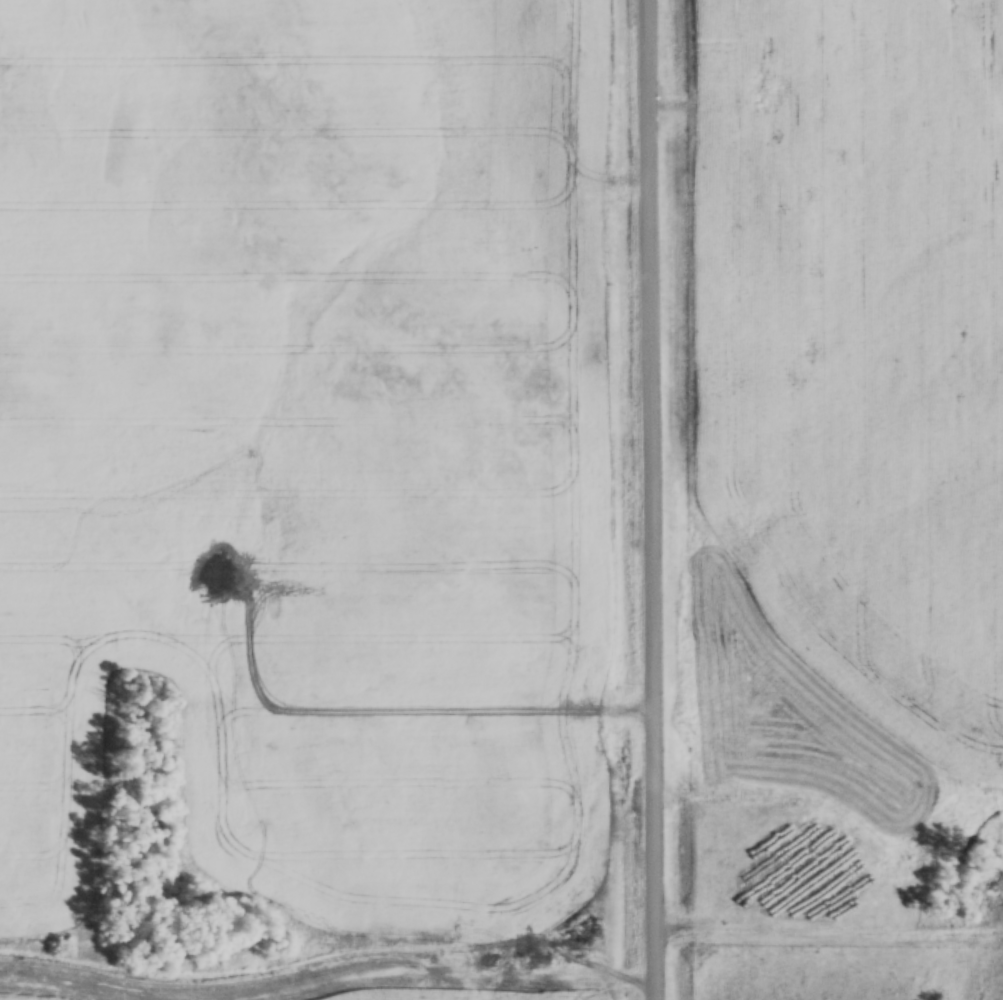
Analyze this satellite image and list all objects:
road: (650, 500)

